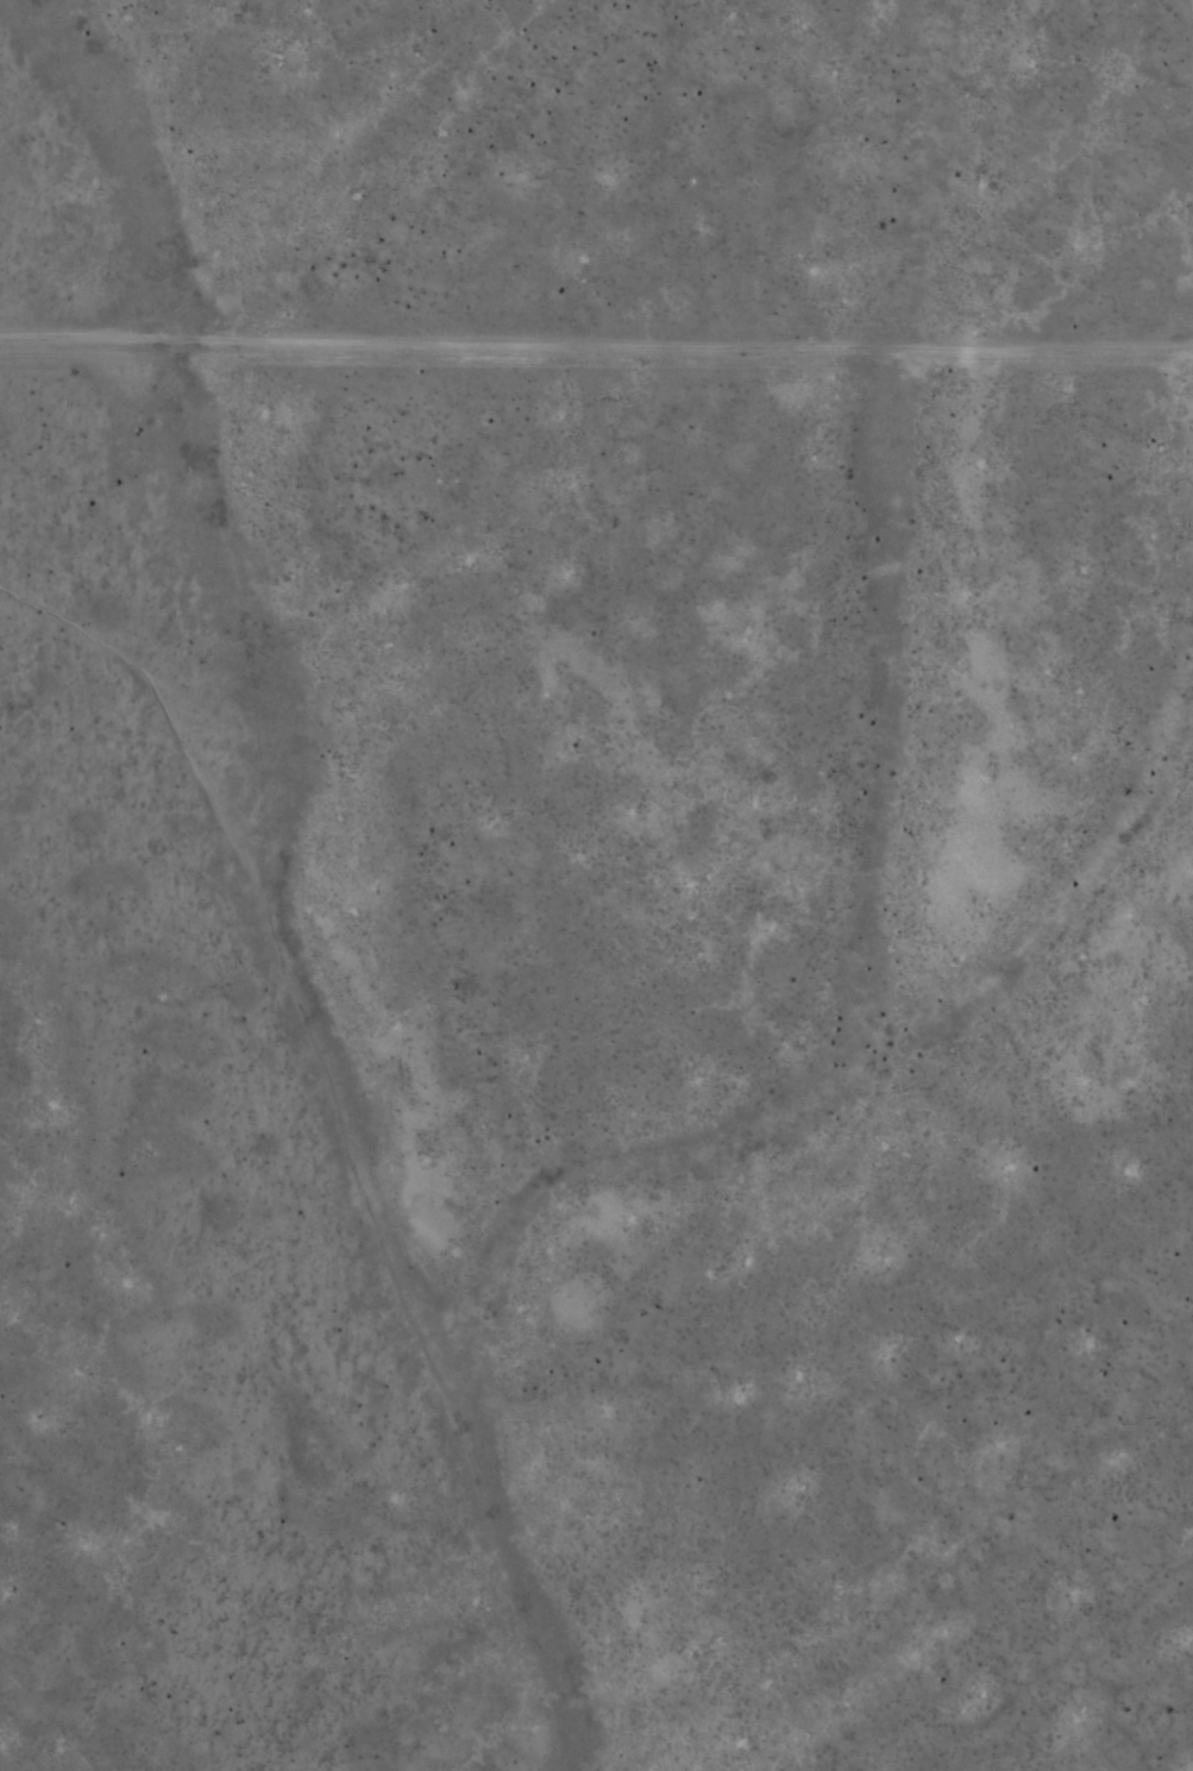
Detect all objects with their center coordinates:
road: (1011, 115)
road: (596, 347)
road: (1191, 1740)

